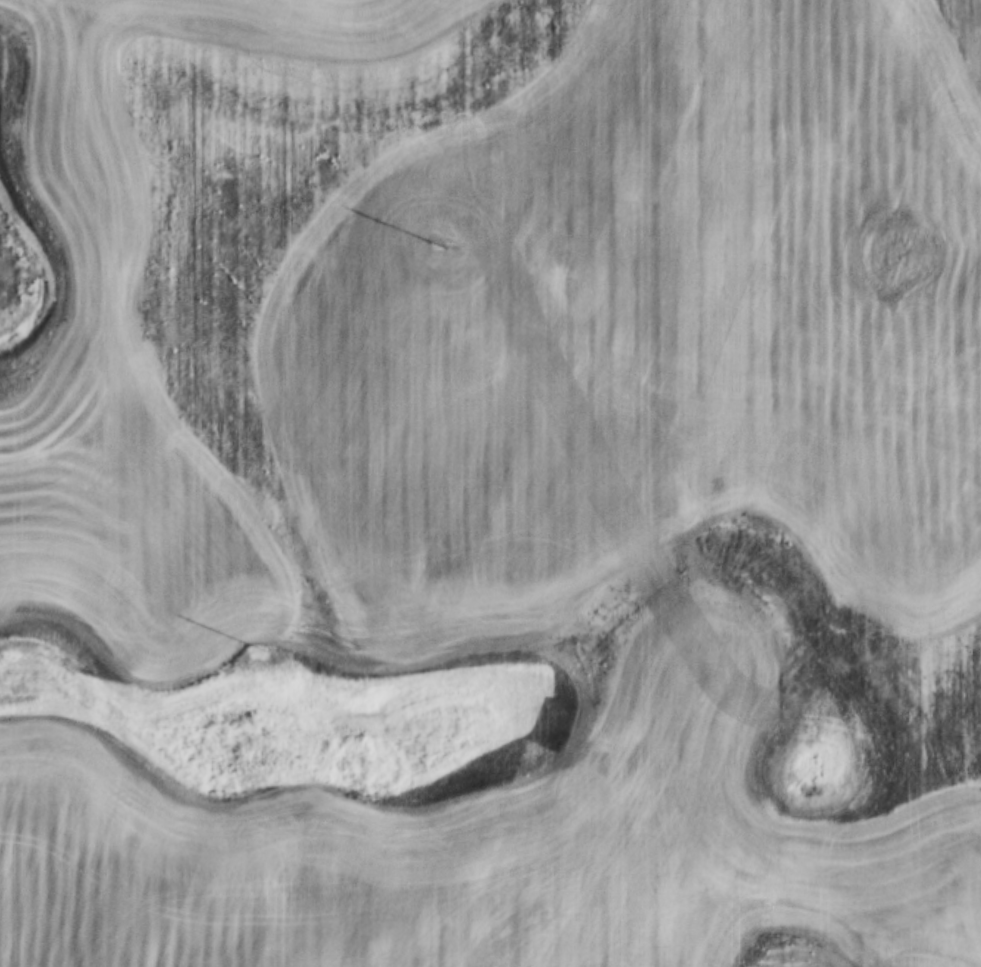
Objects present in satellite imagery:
power tower: (439, 242)
power tower: (258, 646)

